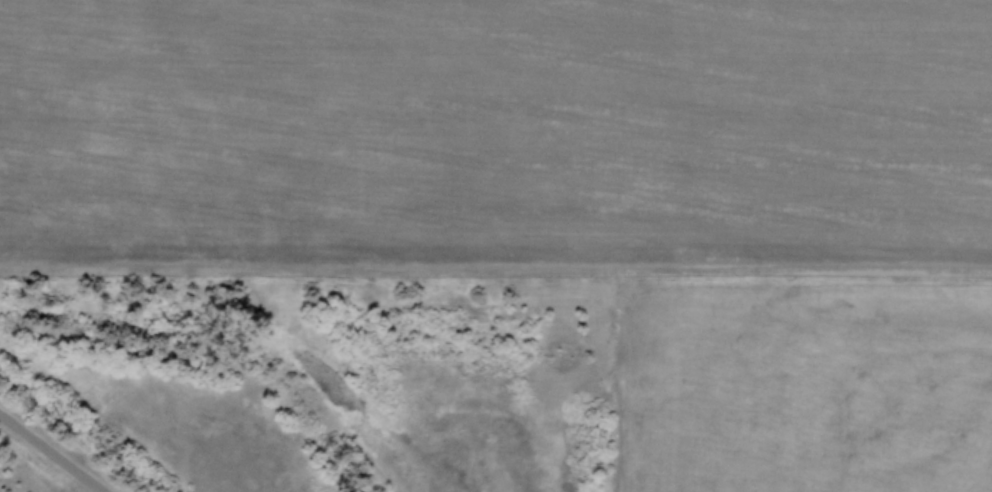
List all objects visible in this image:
road: (16, 427)
road: (67, 465)
park: (48, 474)

